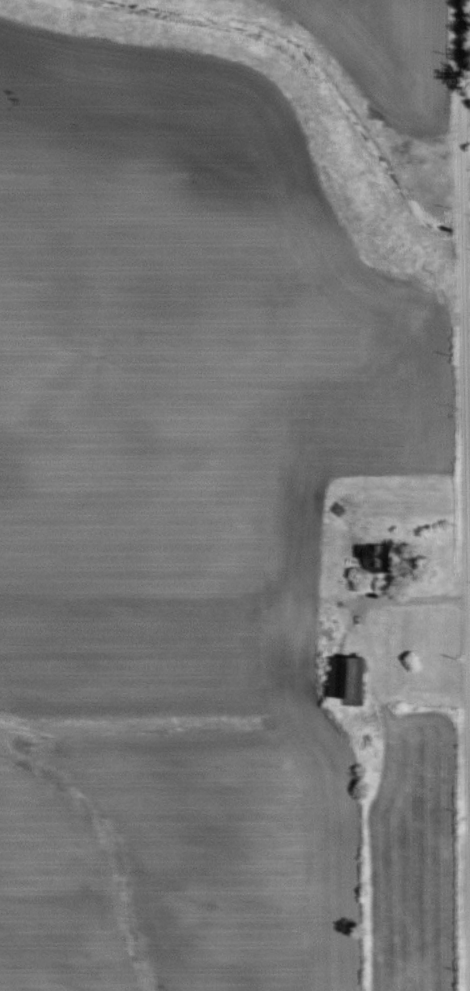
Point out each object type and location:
road: (469, 112)
building: (374, 558)
building: (305, 564)
building: (344, 679)

